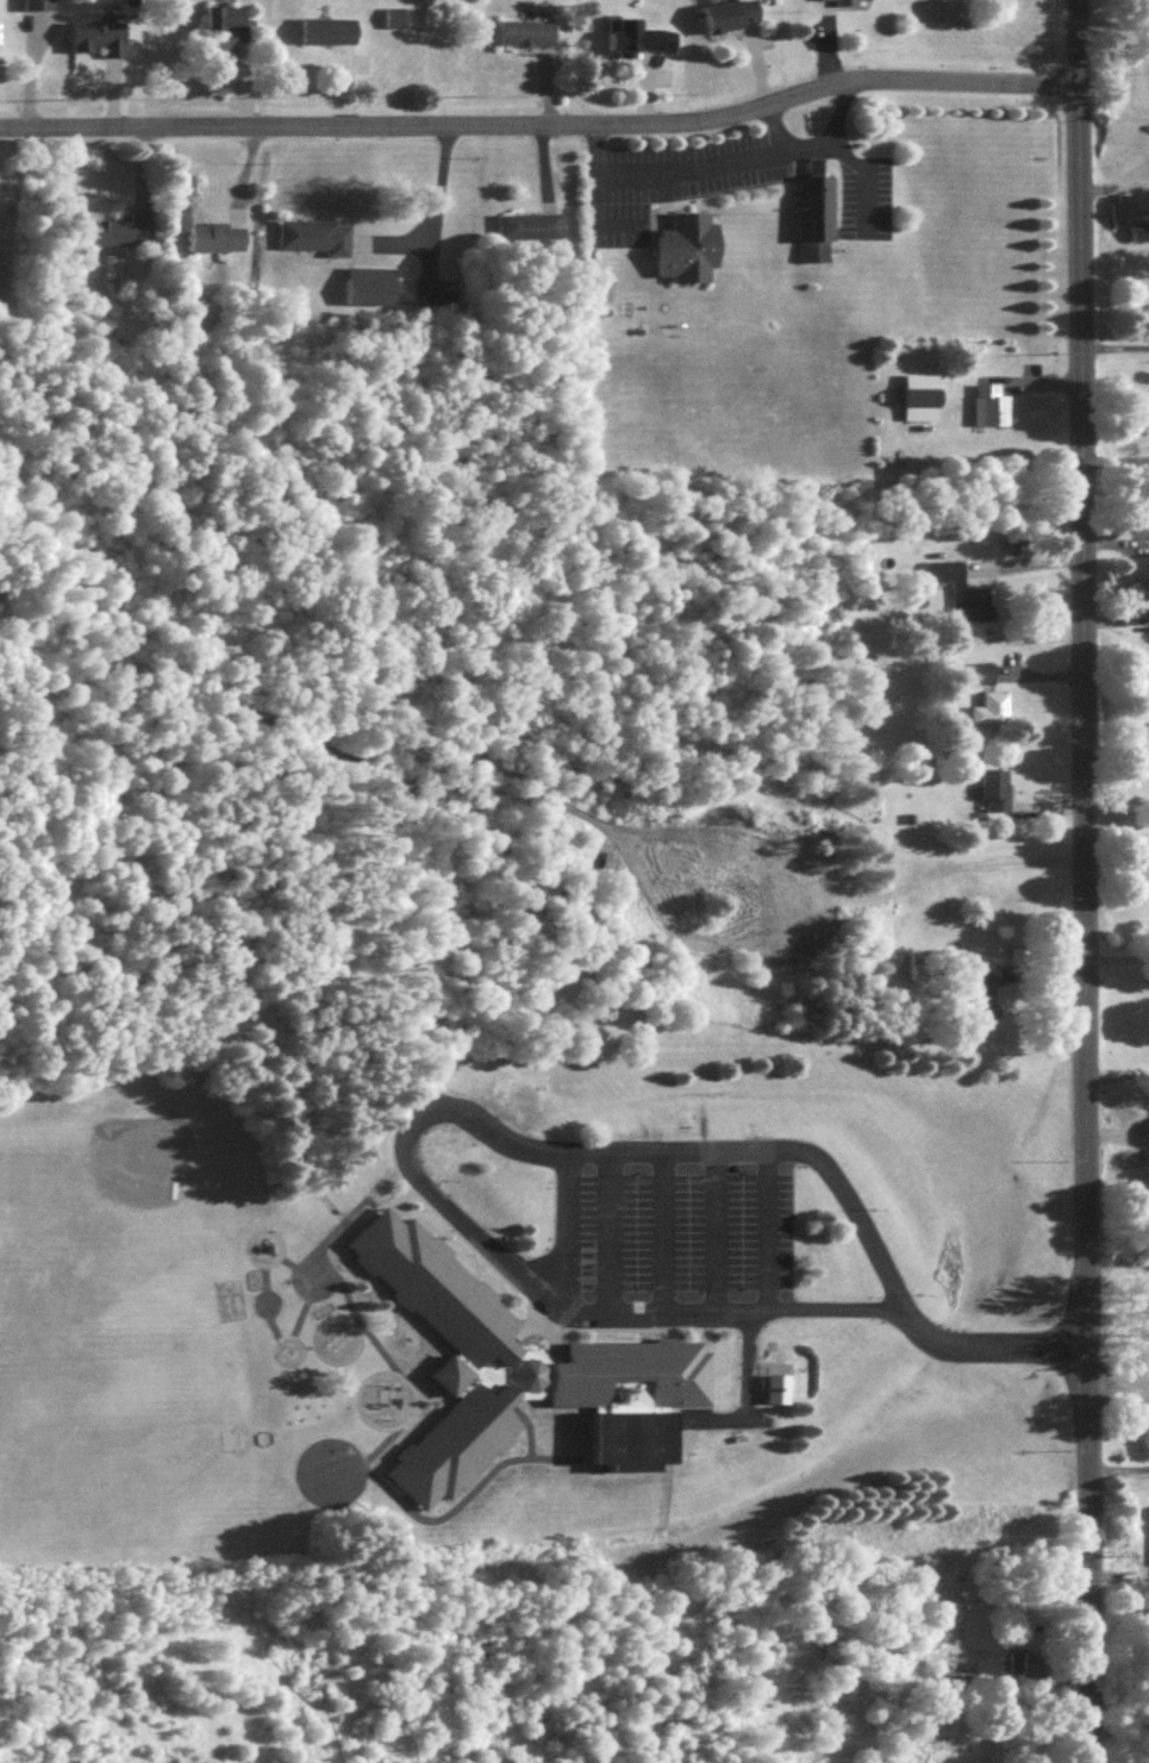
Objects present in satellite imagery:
building: (835, 4)
building: (40, 8)
building: (725, 21)
building: (229, 30)
building: (330, 37)
building: (529, 40)
building: (100, 44)
building: (641, 44)
road: (541, 124)
road: (770, 130)
road: (718, 165)
road: (862, 181)
road: (1113, 188)
road: (431, 220)
building: (805, 224)
building: (1128, 224)
building: (530, 232)
building: (125, 239)
building: (221, 242)
building: (314, 244)
building: (676, 255)
building: (371, 293)
road: (1114, 348)
building: (911, 404)
building: (985, 412)
building: (1144, 419)
building: (1147, 531)
building: (958, 599)
building: (975, 680)
building: (986, 715)
road: (1117, 751)
building: (989, 796)
road: (1086, 881)
road: (1118, 962)
building: (981, 998)
road: (1118, 1082)
road: (501, 1137)
road: (1119, 1269)
road: (1119, 1377)
building: (519, 1378)
road: (747, 1390)
building: (1026, 1675)
building: (953, 1689)

